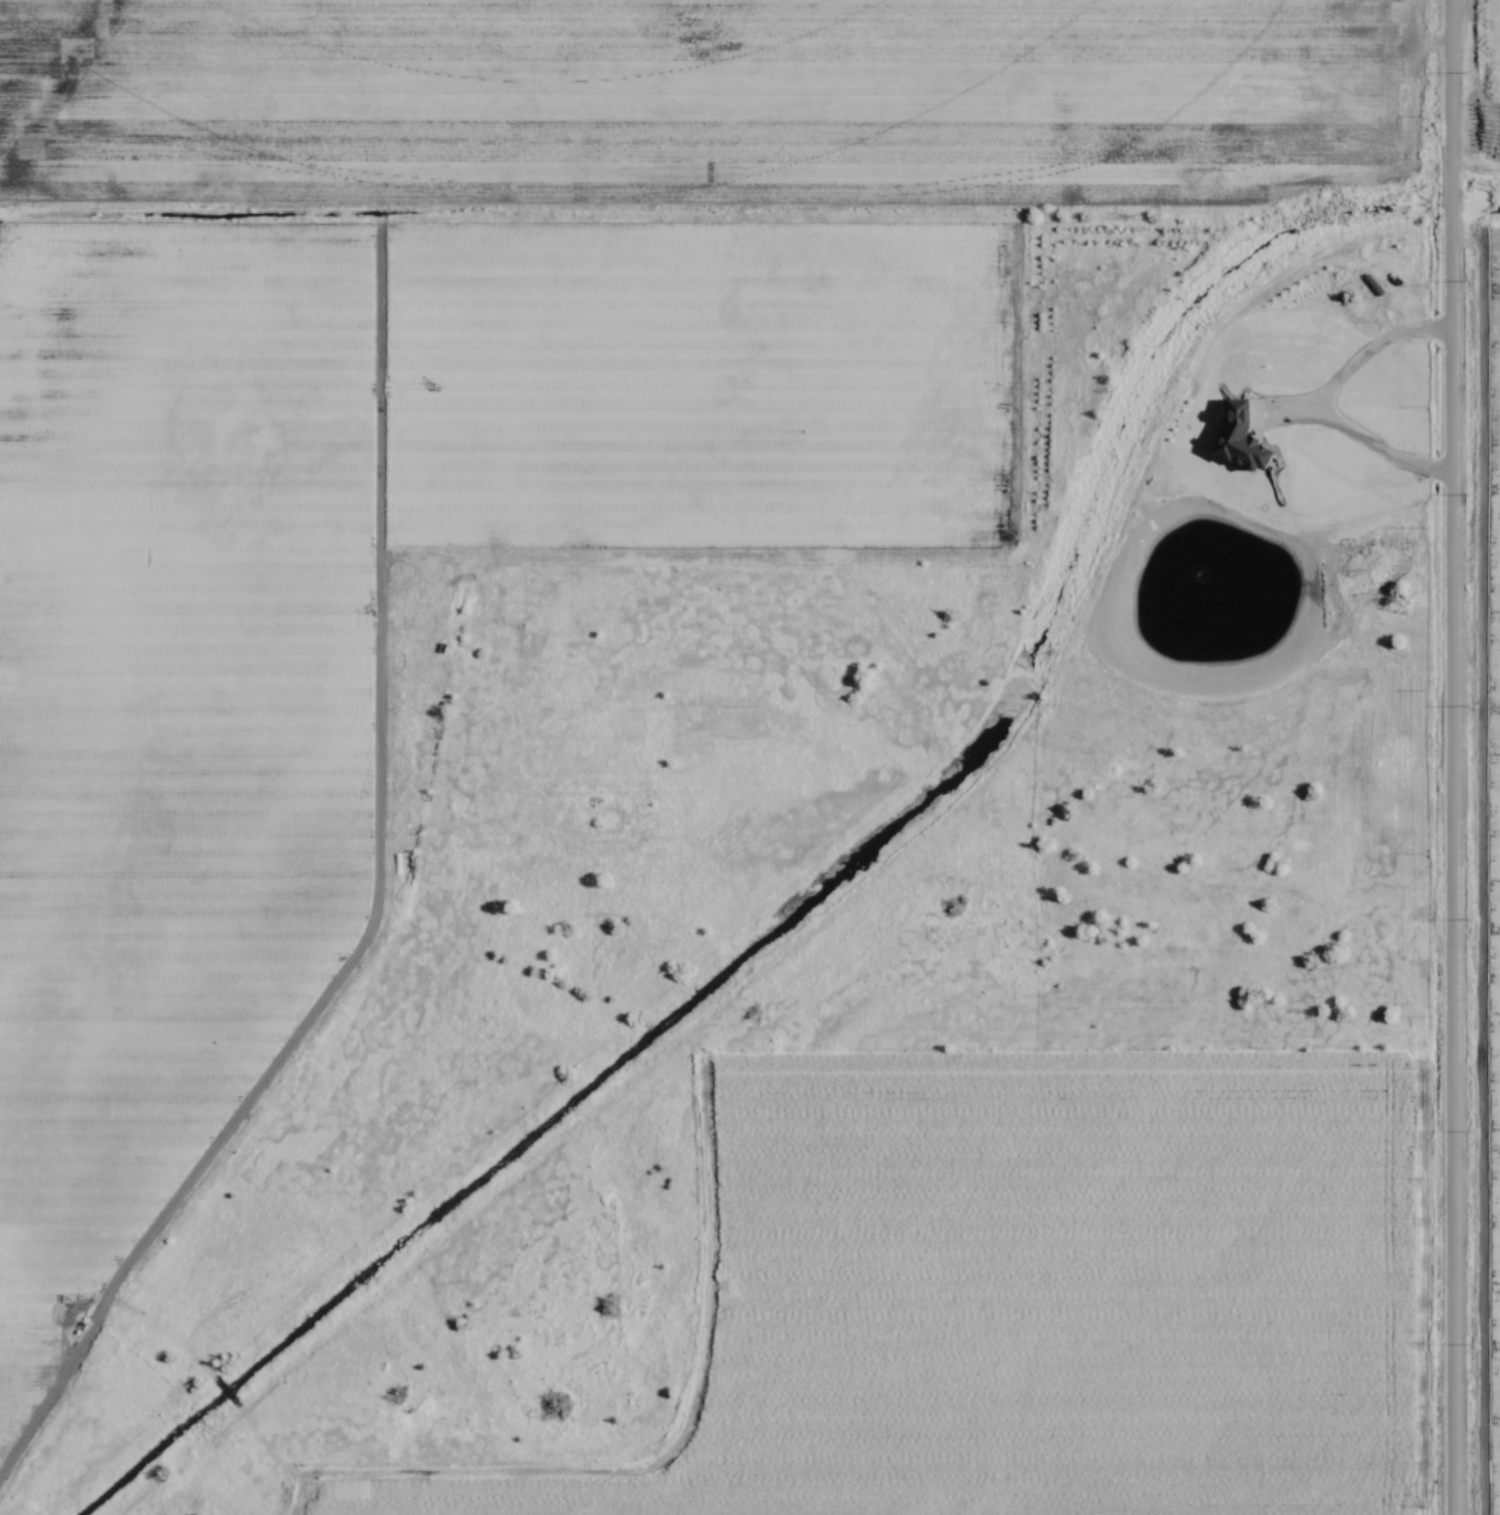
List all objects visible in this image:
road: (1449, 757)

